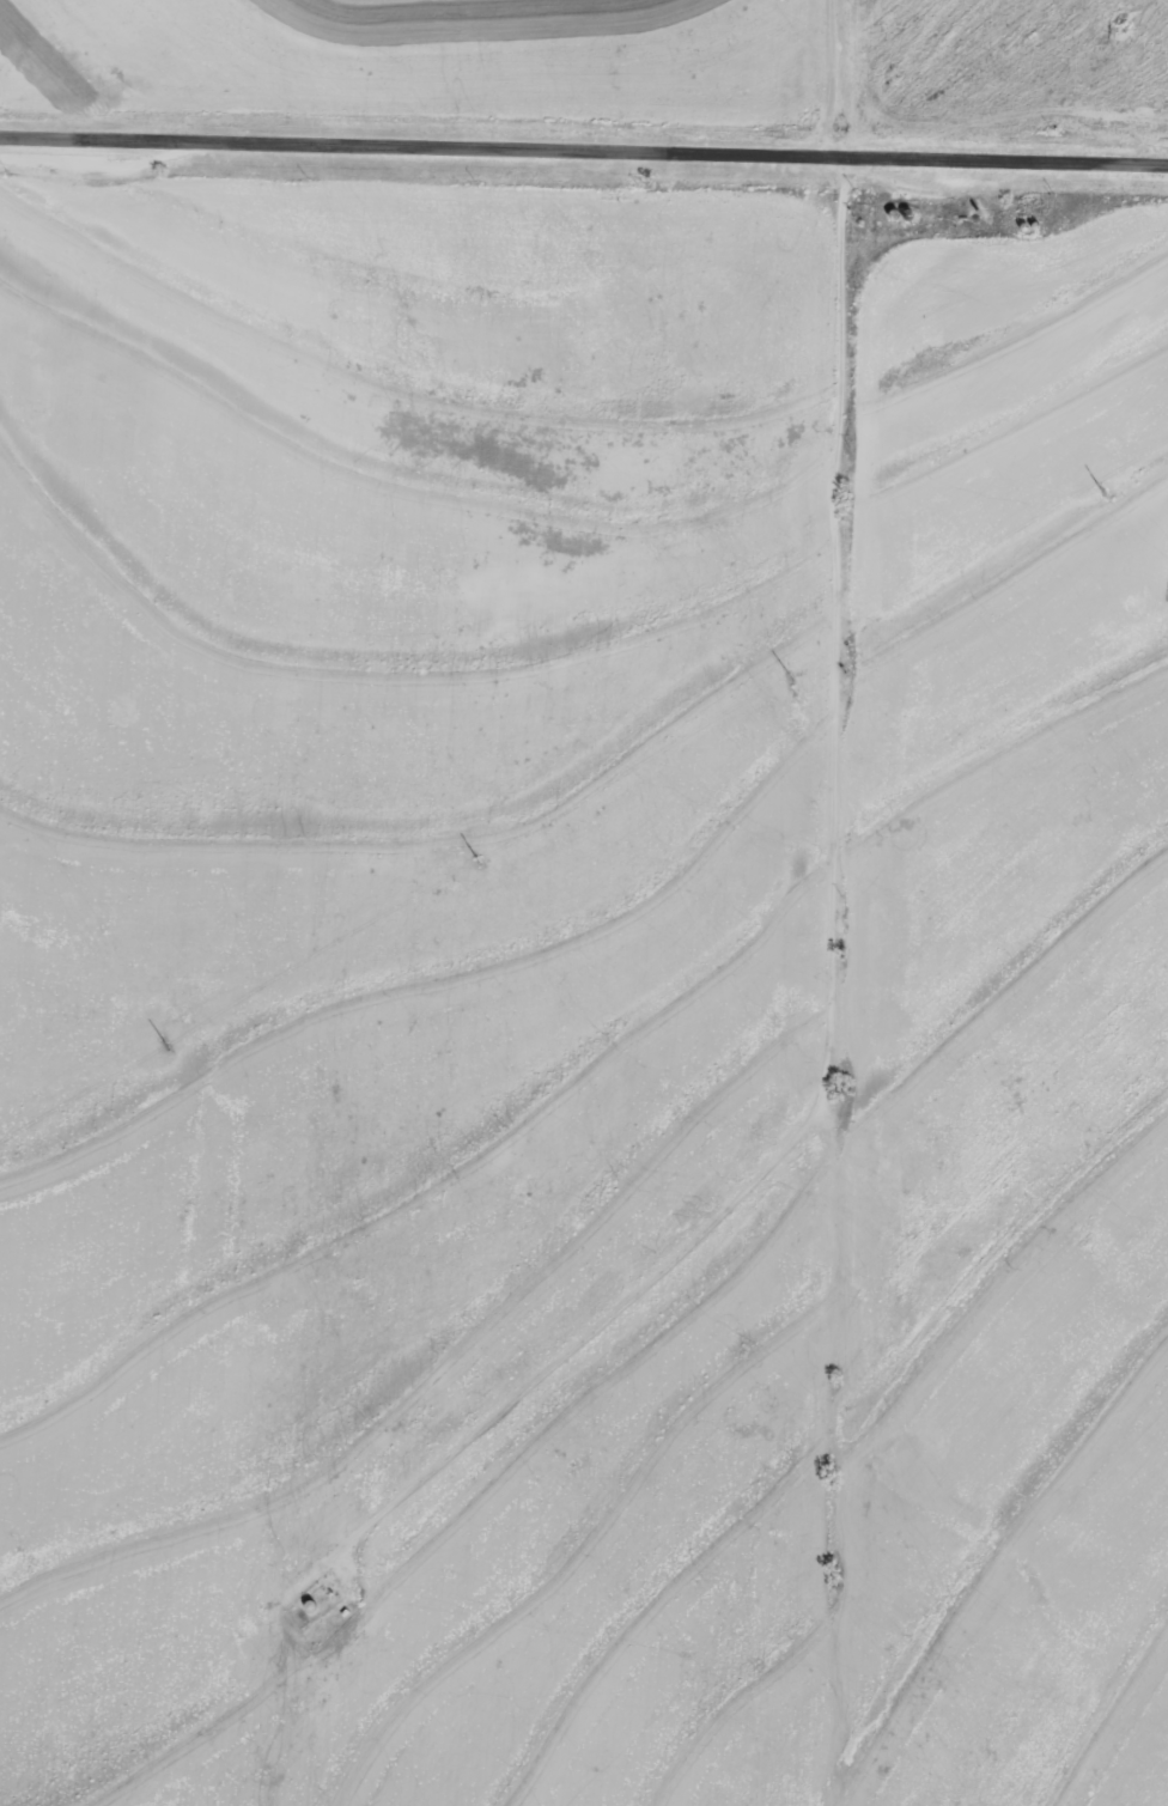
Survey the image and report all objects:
road: (583, 147)
power tower: (1100, 492)
power tower: (790, 679)
road: (814, 834)
power tower: (477, 863)
power tower: (165, 1046)

